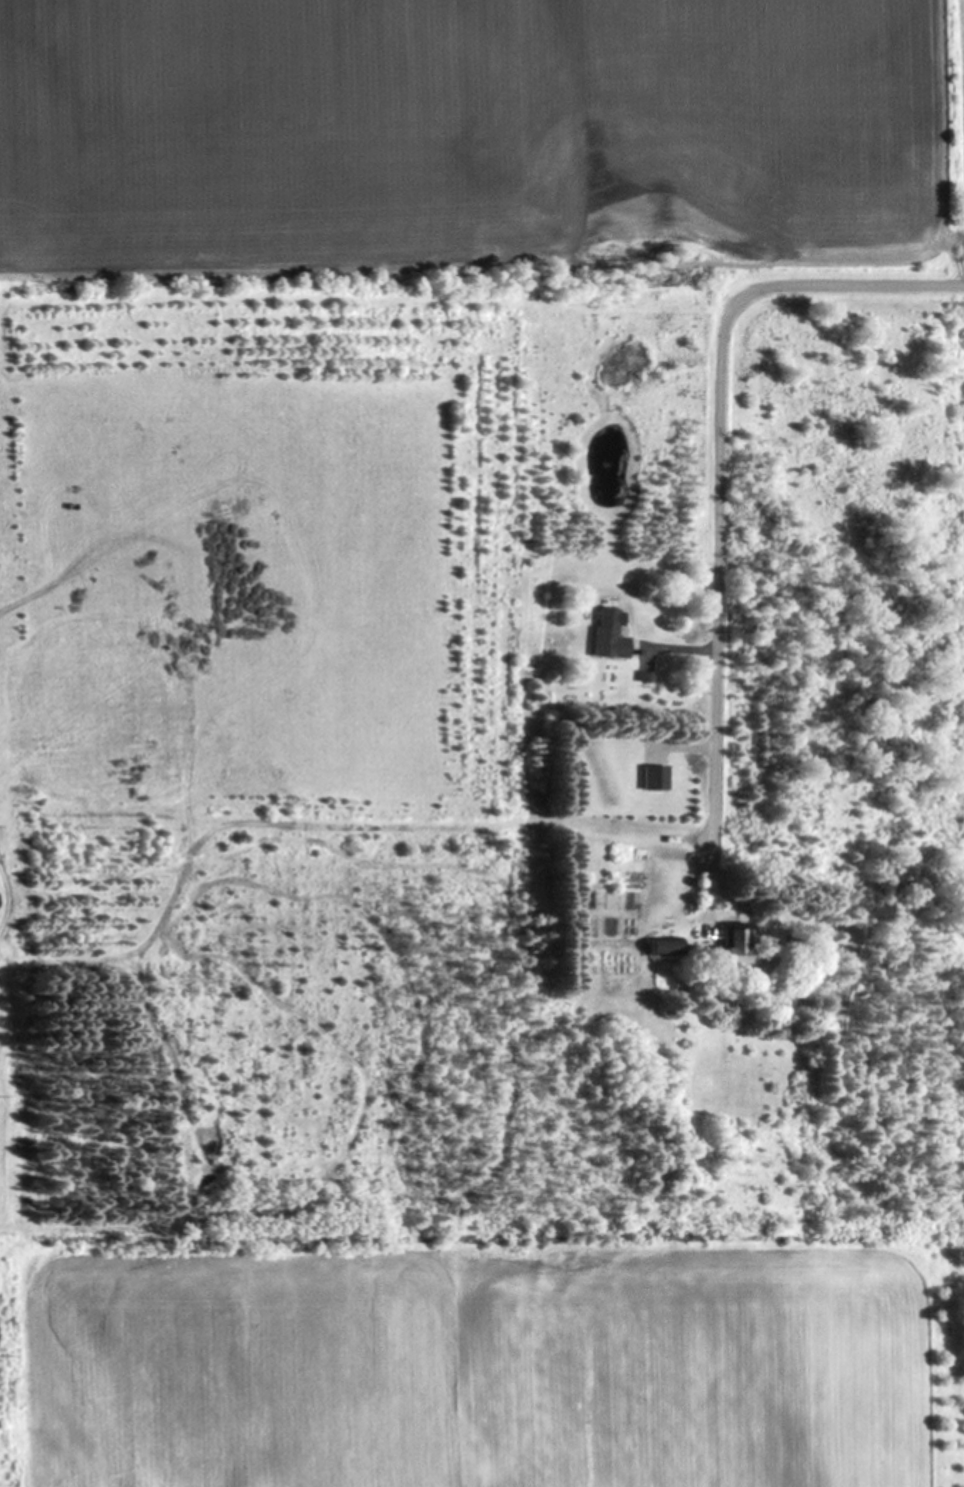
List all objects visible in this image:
road: (719, 487)
building: (608, 633)
building: (655, 776)
building: (735, 943)
building: (665, 945)

